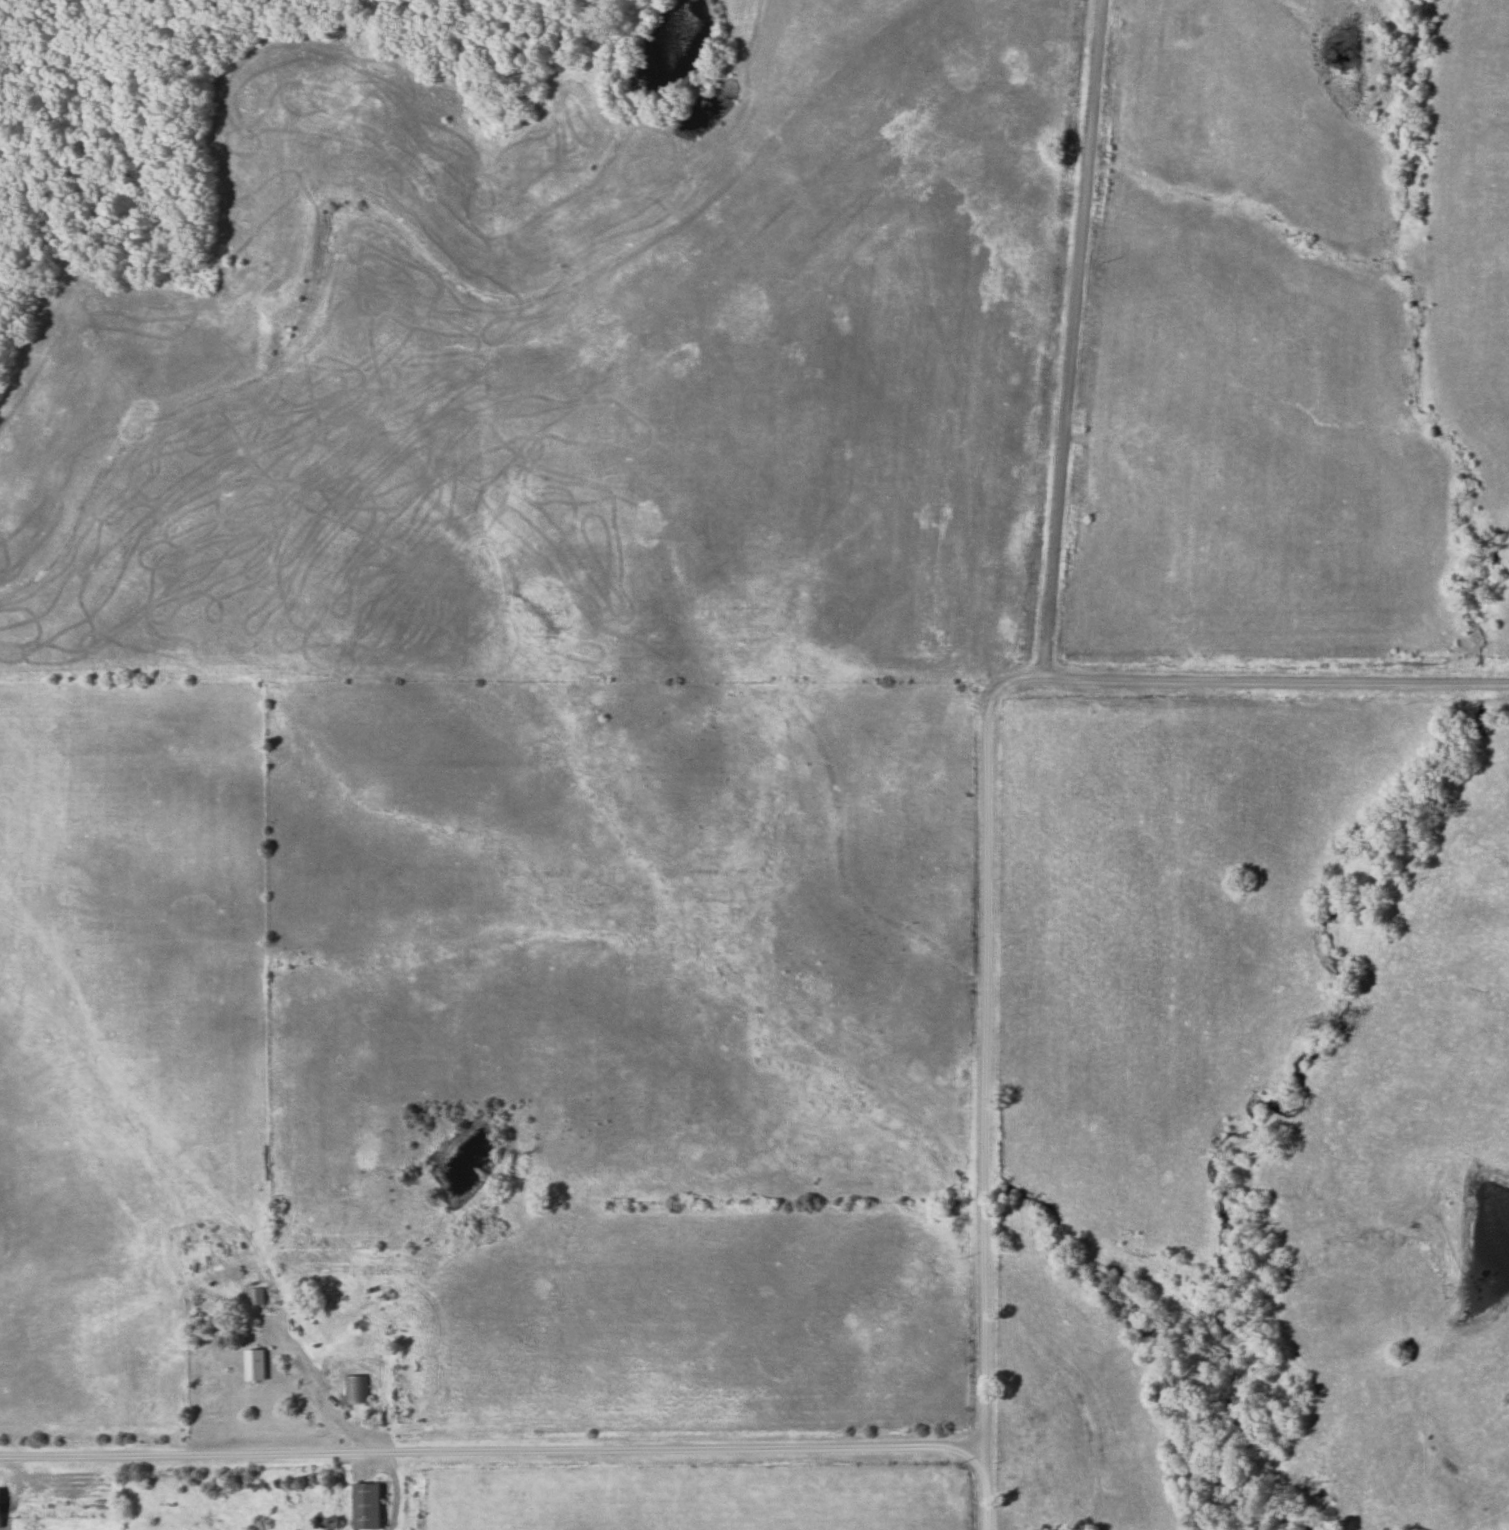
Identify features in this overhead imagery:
road: (1075, 338)
road: (1038, 677)
road: (1112, 678)
road: (1335, 680)
road: (988, 1103)
building: (254, 1296)
building: (250, 1364)
building: (354, 1388)
road: (493, 1450)
building: (362, 1504)

